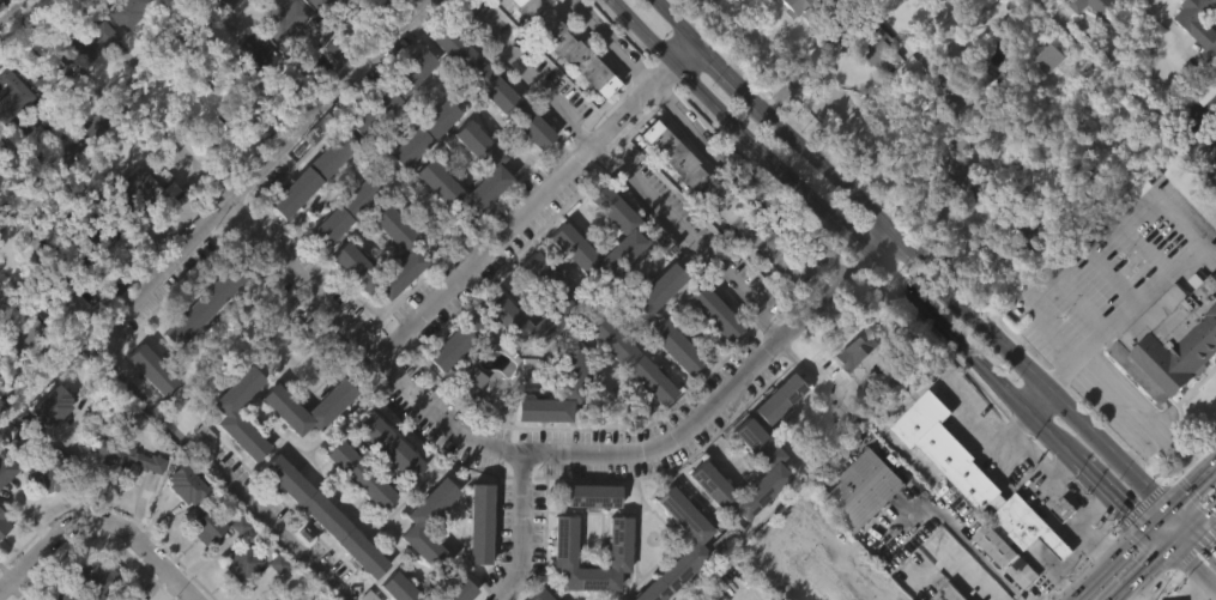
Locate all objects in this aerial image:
building: (988, 2)
building: (1043, 4)
building: (320, 5)
building: (352, 7)
building: (804, 8)
building: (1103, 8)
building: (122, 11)
building: (155, 14)
road: (692, 17)
building: (1200, 19)
building: (0, 22)
building: (284, 22)
road: (671, 24)
building: (316, 30)
building: (991, 37)
building: (91, 40)
building: (791, 41)
building: (1090, 42)
road: (612, 43)
building: (561, 44)
building: (875, 44)
building: (123, 54)
building: (1055, 56)
building: (1197, 56)
building: (252, 57)
building: (279, 65)
building: (540, 69)
road: (527, 74)
building: (52, 80)
building: (85, 84)
building: (960, 84)
building: (494, 87)
road: (736, 91)
building: (881, 91)
building: (392, 93)
building: (246, 96)
road: (878, 99)
building: (1047, 102)
building: (11, 108)
road: (115, 111)
building: (213, 111)
road: (1196, 128)
building: (315, 129)
building: (485, 131)
building: (417, 132)
building: (946, 132)
building: (1204, 132)
building: (385, 137)
road: (165, 139)
building: (0, 146)
road: (896, 153)
building: (205, 163)
building: (422, 168)
building: (964, 169)
building: (313, 175)
building: (417, 177)
road: (833, 181)
building: (0, 194)
building: (132, 194)
road: (536, 200)
building: (720, 204)
building: (343, 212)
building: (307, 217)
building: (425, 219)
building: (563, 229)
building: (132, 230)
road: (842, 234)
building: (1028, 234)
road: (1084, 236)
building: (659, 237)
road: (689, 238)
building: (80, 241)
building: (716, 248)
building: (338, 251)
building: (337, 256)
road: (921, 268)
building: (1026, 273)
building: (52, 275)
building: (557, 279)
building: (90, 283)
building: (659, 289)
building: (405, 292)
building: (495, 297)
road: (127, 302)
building: (205, 302)
building: (715, 309)
road: (1129, 310)
building: (17, 328)
building: (649, 334)
building: (454, 341)
building: (1170, 341)
building: (677, 345)
building: (198, 350)
building: (707, 356)
building: (498, 358)
building: (634, 359)
building: (151, 366)
building: (571, 371)
road: (44, 372)
road: (818, 381)
building: (606, 384)
building: (449, 386)
building: (851, 393)
building: (784, 398)
road: (1030, 400)
building: (53, 404)
building: (135, 404)
building: (282, 404)
road: (1061, 408)
building: (226, 412)
road: (1145, 412)
building: (564, 417)
building: (643, 424)
building: (389, 442)
building: (773, 442)
building: (276, 448)
building: (47, 449)
building: (945, 449)
building: (123, 455)
building: (222, 456)
road: (550, 460)
building: (4, 468)
building: (703, 471)
building: (50, 473)
building: (358, 473)
building: (186, 483)
traffic signals: (1194, 486)
building: (861, 491)
building: (594, 493)
building: (108, 497)
road: (1111, 499)
building: (146, 507)
traffic signals: (1125, 510)
building: (4, 515)
building: (43, 515)
building: (323, 515)
building: (352, 517)
road: (99, 520)
building: (477, 522)
building: (2, 523)
building: (416, 526)
building: (1029, 526)
building: (204, 527)
building: (180, 528)
road: (1193, 528)
road: (1143, 532)
road: (515, 533)
building: (859, 533)
road: (1191, 534)
building: (727, 535)
road: (1160, 538)
building: (586, 539)
building: (696, 541)
traffic signals: (1206, 550)
building: (311, 551)
building: (621, 554)
building: (1008, 558)
building: (242, 562)
building: (421, 562)
building: (472, 563)
building: (2, 568)
road: (1193, 569)
traffic signals: (1148, 570)
building: (200, 571)
road: (869, 574)
road: (1144, 574)
building: (96, 578)
building: (557, 578)
building: (992, 583)
building: (401, 588)
building: (459, 589)
road: (1190, 589)
building: (61, 594)
building: (949, 594)
building: (543, 595)
road: (158, 599)
building: (288, 599)

